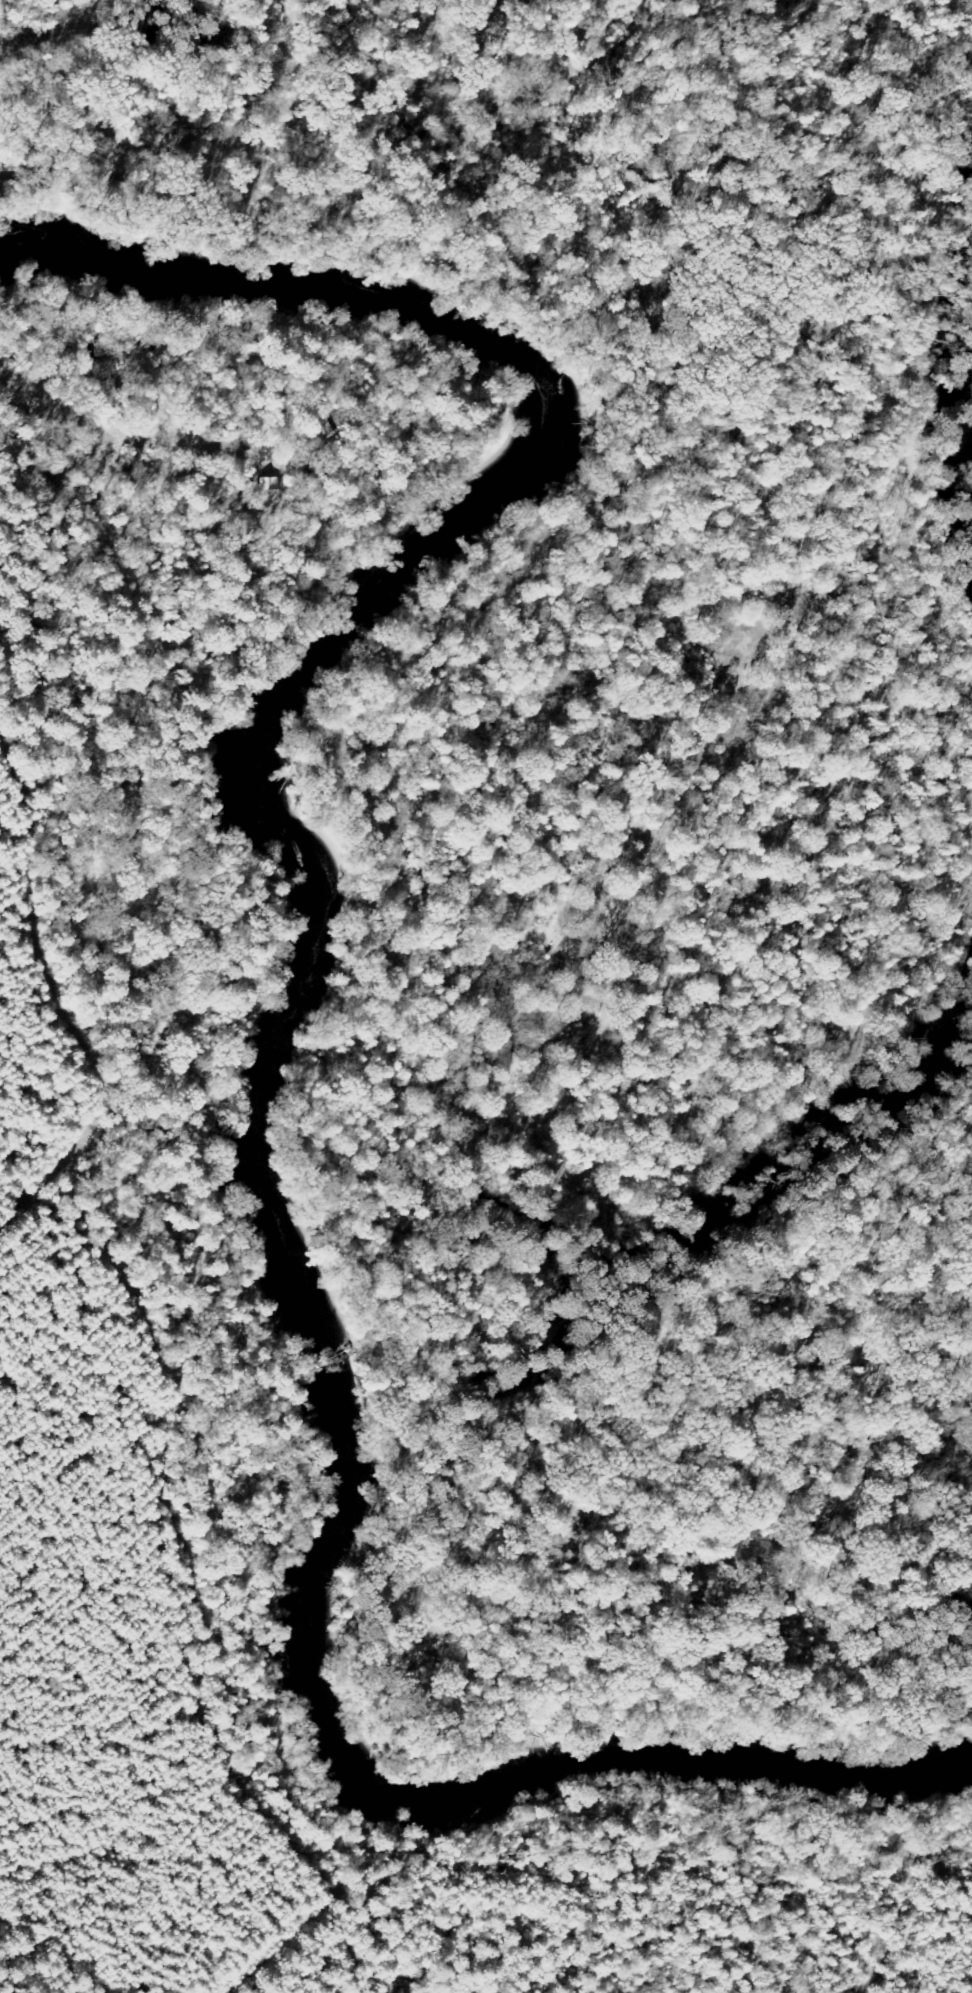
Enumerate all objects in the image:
road: (65, 48)
river: (270, 1045)

